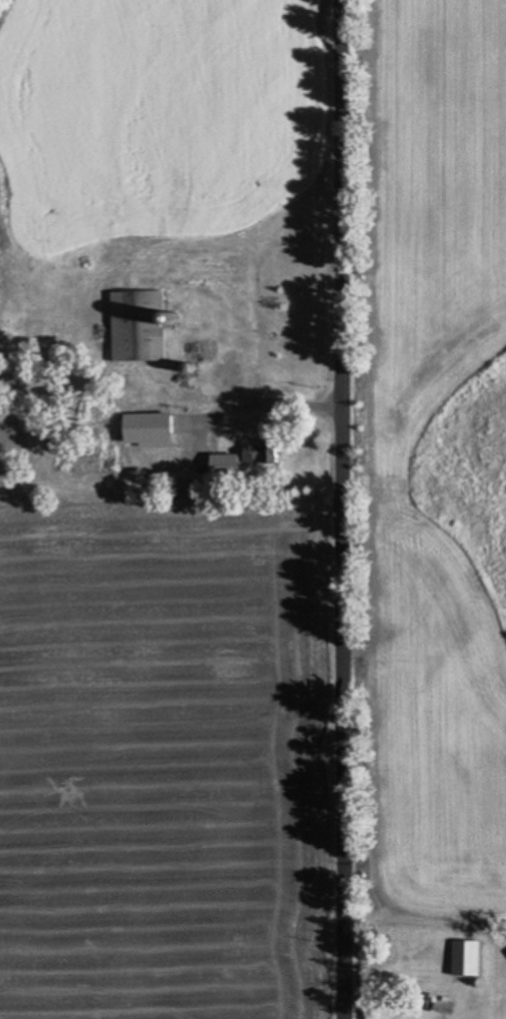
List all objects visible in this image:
crop: (165, 111)
building: (208, 271)
building: (145, 324)
building: (149, 443)
building: (250, 457)
crop: (425, 458)
building: (188, 489)
road: (340, 509)
crop: (167, 757)
building: (466, 957)

